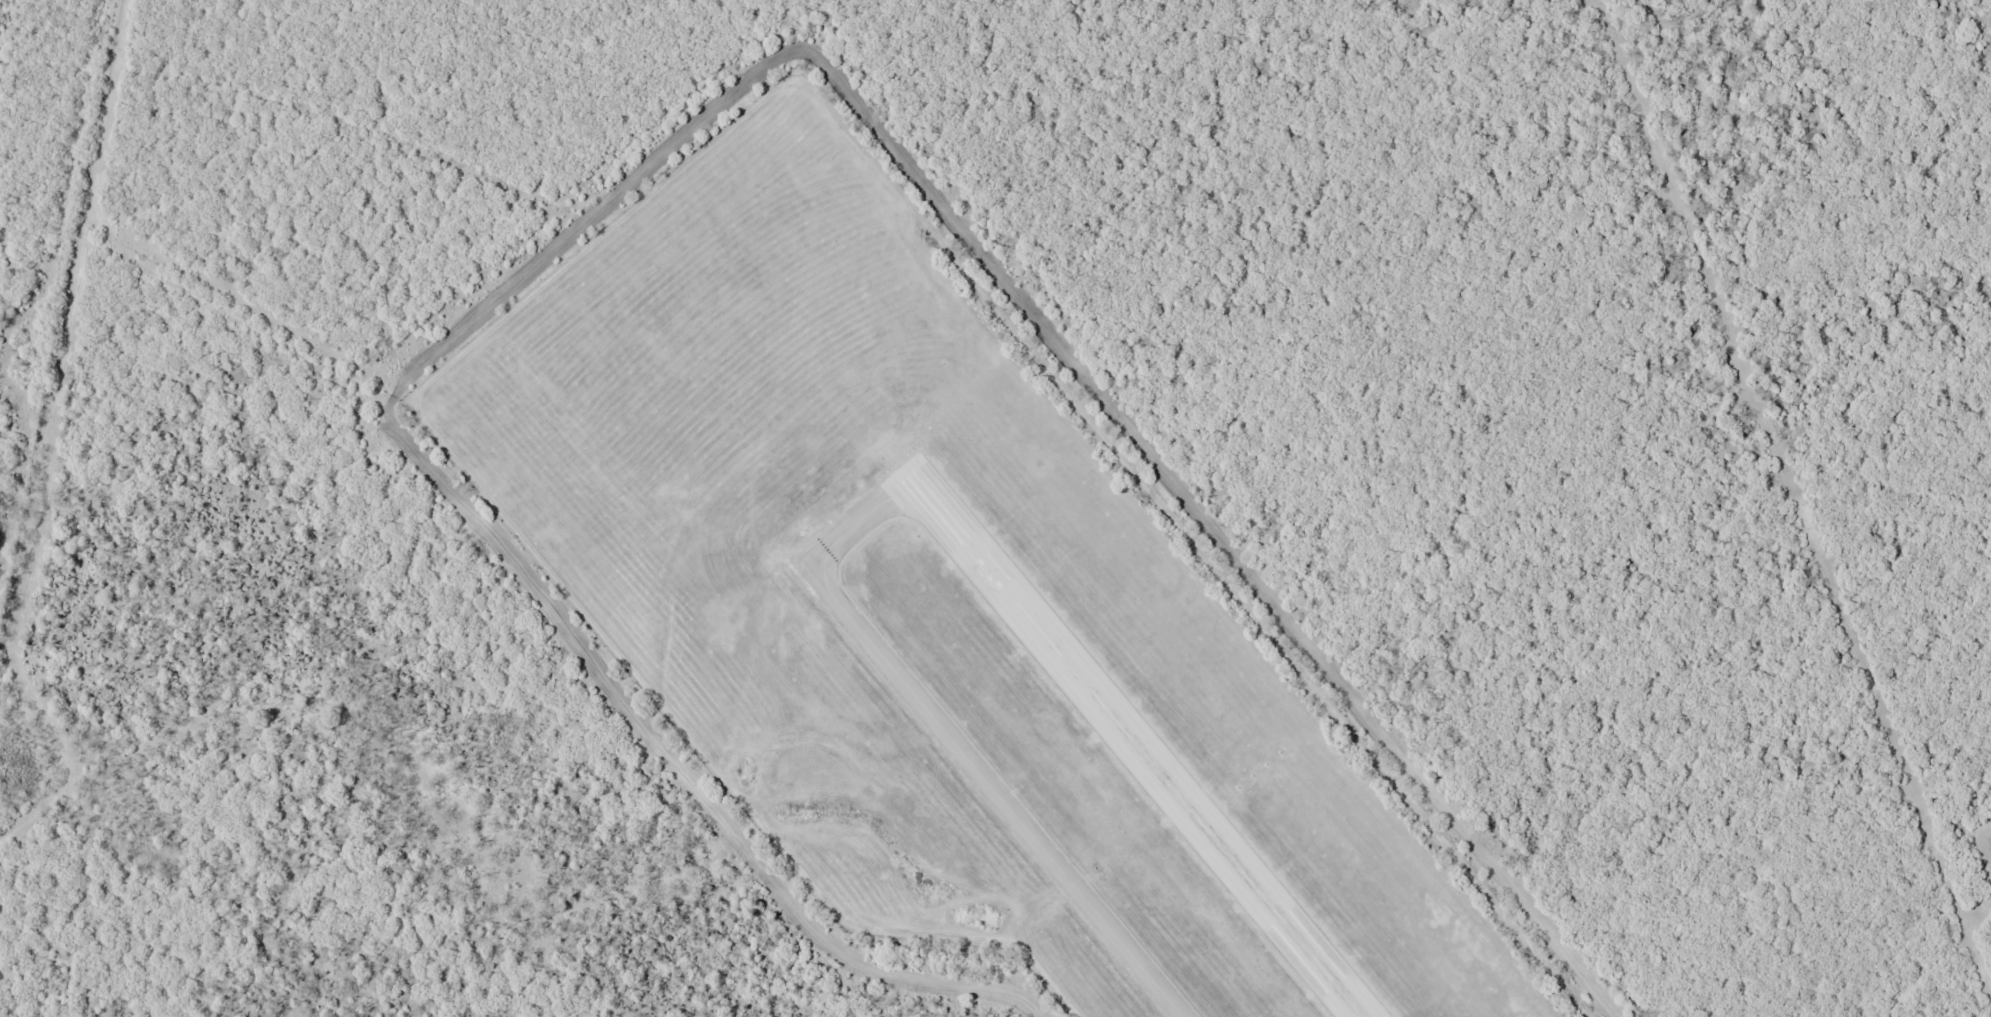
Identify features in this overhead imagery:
road: (67, 396)
airport taxiway: (950, 738)
airport runway: (1137, 745)
airport runway: (1146, 745)

